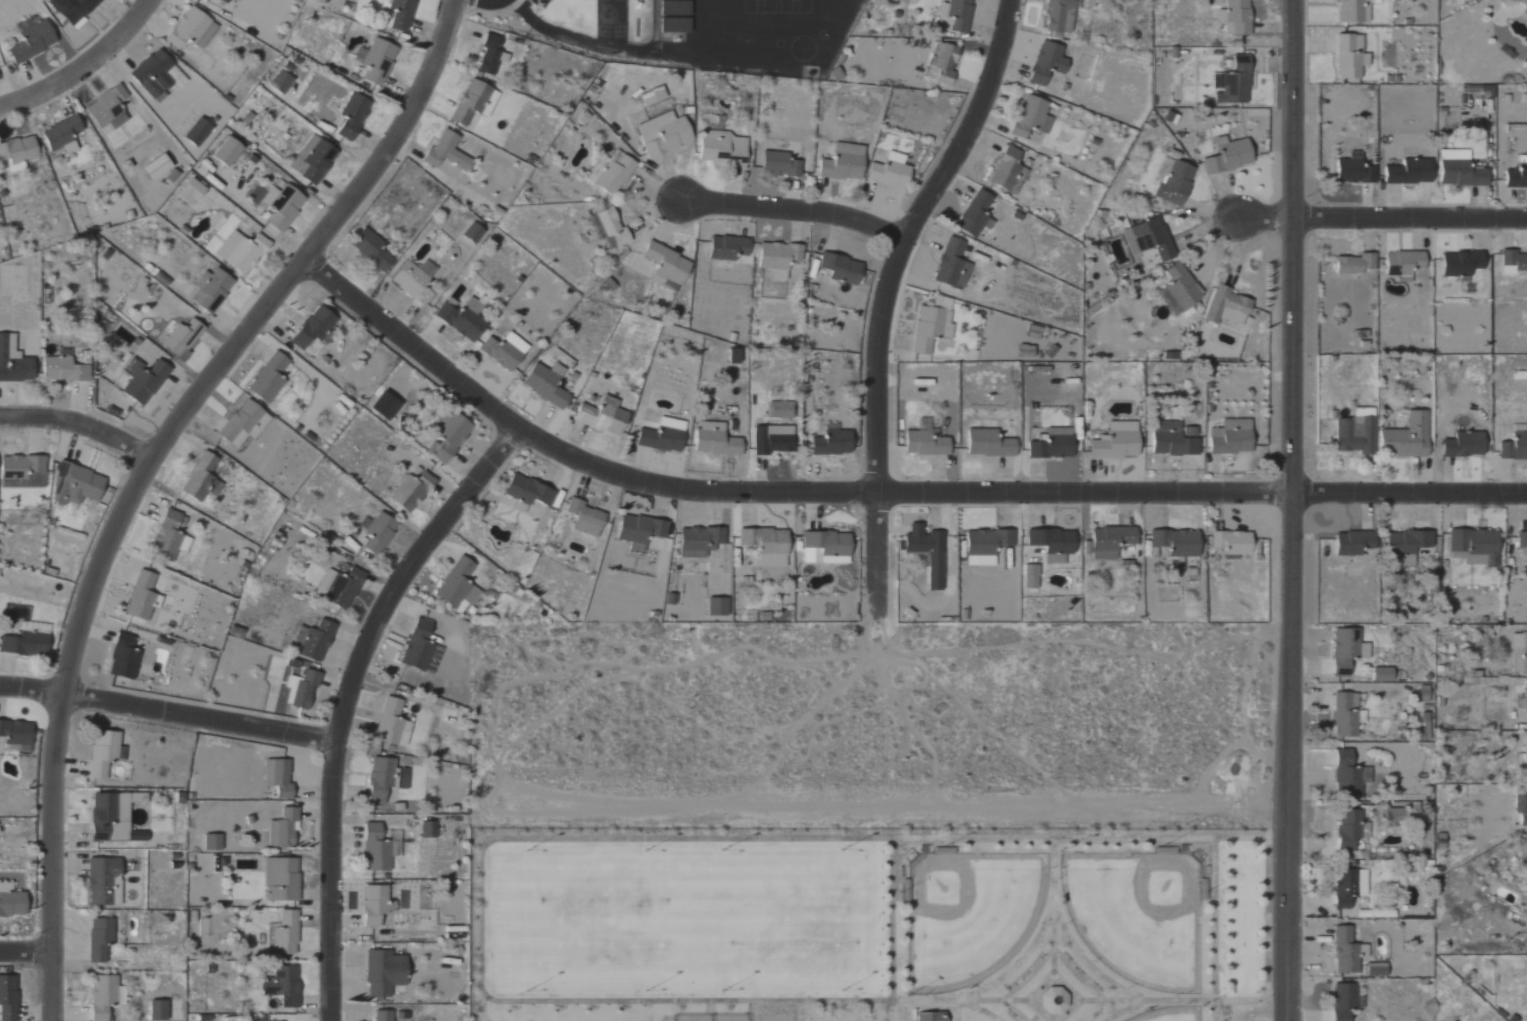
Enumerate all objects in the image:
building: (207, 0)
building: (1523, 2)
building: (73, 9)
building: (681, 9)
building: (1352, 11)
building: (400, 13)
building: (956, 15)
building: (1059, 16)
building: (1236, 17)
building: (675, 27)
building: (192, 30)
building: (32, 43)
building: (491, 55)
building: (1351, 57)
building: (379, 61)
building: (944, 63)
building: (1047, 64)
road: (83, 65)
building: (153, 75)
building: (281, 82)
building: (1233, 83)
building: (474, 102)
building: (108, 109)
building: (352, 116)
building: (1031, 117)
building: (198, 132)
building: (663, 134)
building: (62, 135)
building: (721, 148)
building: (18, 152)
building: (227, 152)
building: (447, 152)
building: (1229, 157)
building: (313, 160)
building: (843, 163)
building: (779, 164)
building: (156, 167)
building: (890, 171)
building: (1354, 171)
building: (1460, 171)
building: (1008, 172)
building: (1410, 173)
building: (1517, 178)
building: (1176, 184)
building: (190, 192)
building: (283, 206)
road: (796, 212)
building: (975, 214)
road: (1410, 215)
road: (1265, 216)
building: (612, 227)
building: (472, 233)
building: (1149, 239)
building: (728, 248)
building: (371, 250)
building: (241, 252)
building: (779, 258)
building: (1514, 262)
building: (1405, 263)
building: (1461, 263)
building: (666, 264)
building: (1355, 264)
building: (952, 265)
building: (841, 269)
building: (412, 283)
building: (1181, 287)
building: (211, 290)
road: (888, 296)
building: (1227, 307)
building: (462, 320)
building: (314, 328)
building: (183, 338)
building: (13, 362)
building: (65, 369)
building: (269, 378)
building: (143, 381)
building: (546, 384)
building: (384, 406)
building: (780, 410)
building: (603, 417)
road: (79, 422)
building: (244, 425)
building: (449, 435)
building: (1354, 435)
building: (663, 436)
building: (1231, 437)
building: (1406, 438)
building: (773, 439)
building: (925, 441)
building: (1172, 441)
building: (1117, 442)
building: (715, 443)
building: (833, 443)
building: (988, 444)
building: (1053, 444)
building: (1464, 445)
building: (1514, 447)
road: (145, 469)
building: (23, 470)
building: (200, 477)
building: (78, 486)
building: (528, 491)
road: (880, 491)
building: (411, 492)
road: (1296, 510)
building: (586, 519)
building: (640, 531)
building: (378, 533)
building: (169, 538)
building: (1521, 540)
building: (700, 541)
building: (1111, 541)
building: (1177, 543)
building: (1233, 543)
building: (1354, 543)
building: (1053, 544)
building: (767, 546)
building: (986, 546)
building: (1407, 546)
building: (1474, 547)
building: (826, 548)
building: (927, 553)
building: (1031, 577)
building: (458, 585)
building: (339, 588)
building: (141, 597)
building: (717, 607)
building: (313, 641)
building: (25, 645)
building: (418, 647)
building: (1348, 650)
building: (1519, 653)
building: (124, 658)
building: (1383, 675)
building: (302, 690)
road: (346, 699)
building: (1523, 700)
road: (167, 712)
building: (1345, 715)
building: (393, 724)
building: (16, 733)
building: (104, 753)
building: (1524, 762)
building: (1349, 776)
building: (278, 777)
building: (381, 780)
building: (1521, 804)
building: (1395, 816)
building: (110, 818)
building: (283, 829)
building: (428, 830)
building: (1349, 830)
road: (1193, 838)
building: (375, 850)
building: (1524, 858)
building: (281, 880)
building: (1350, 887)
building: (11, 902)
road: (1052, 902)
building: (374, 905)
park: (968, 915)
road: (1047, 915)
park: (1137, 916)
road: (1214, 920)
park: (868, 925)
building: (284, 935)
building: (100, 939)
road: (24, 951)
building: (1347, 952)
road: (1063, 961)
building: (1377, 970)
building: (384, 973)
building: (283, 986)
road: (891, 988)
building: (102, 996)
building: (8, 998)
road: (955, 1000)
road: (1149, 1001)
building: (1344, 1001)
road: (978, 1010)
road: (1013, 1010)
building: (158, 1011)
road: (799, 1011)
road: (890, 1011)
road: (955, 1011)
road: (1125, 1011)
road: (1240, 1011)
parking lot: (1239, 1012)
park: (1170, 1015)
road: (1264, 1015)
building: (383, 1016)
building: (930, 1017)
park: (691, 1018)
park: (727, 1018)
park: (768, 1018)
road: (853, 1019)
road: (1035, 1019)

